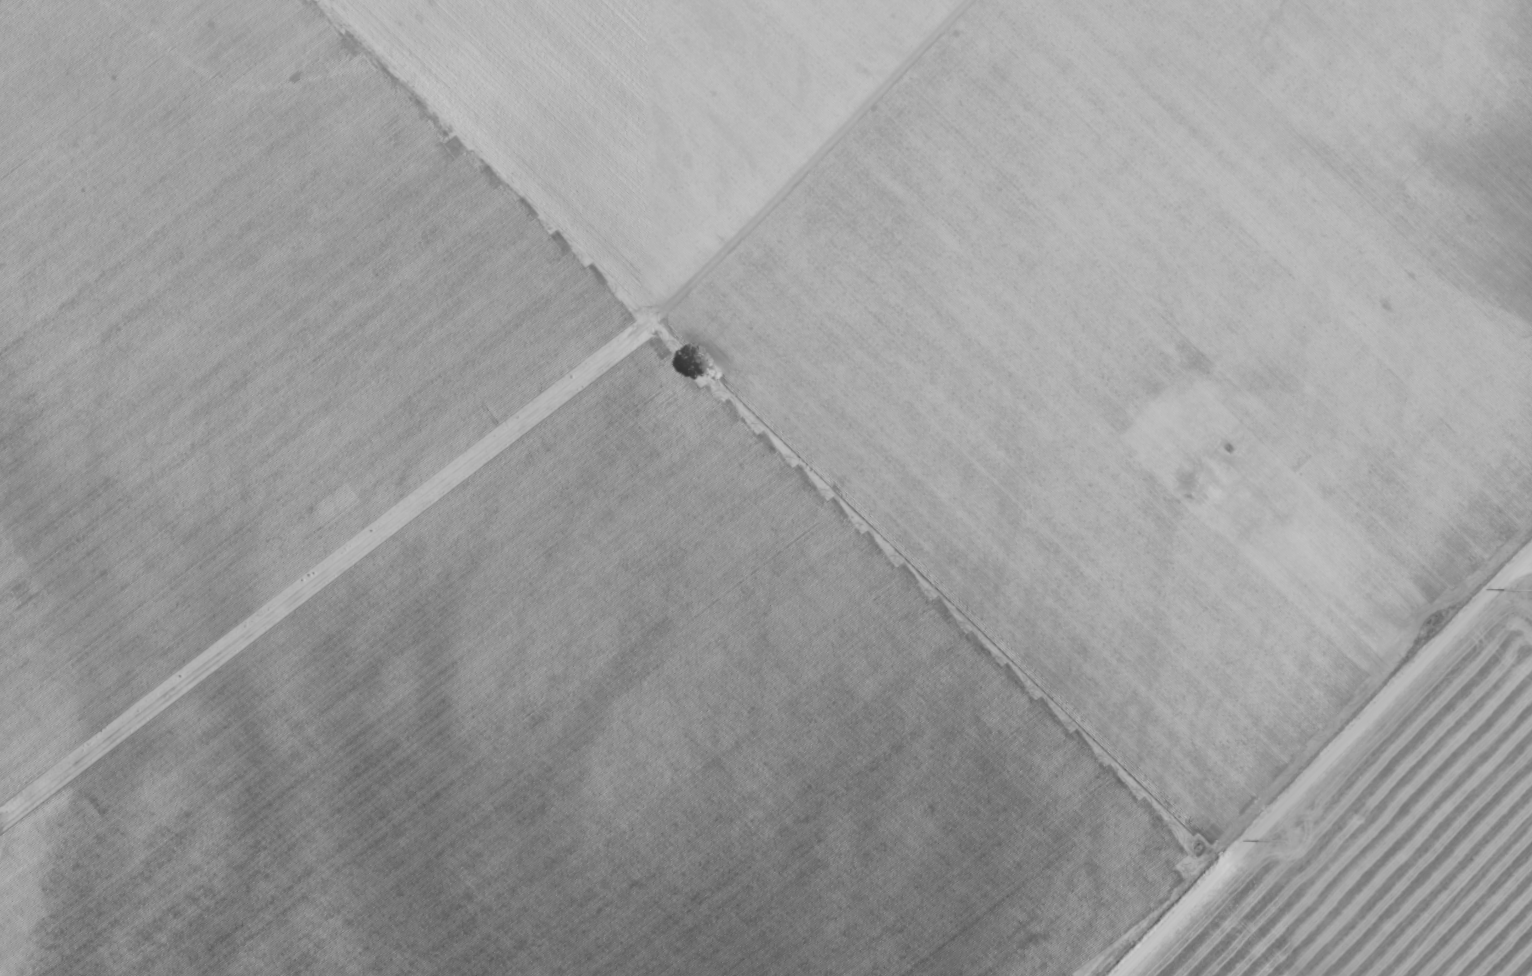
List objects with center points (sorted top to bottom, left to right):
road: (529, 444)
power tower: (1531, 591)
road: (934, 628)
road: (1331, 779)
power tower: (1286, 841)

